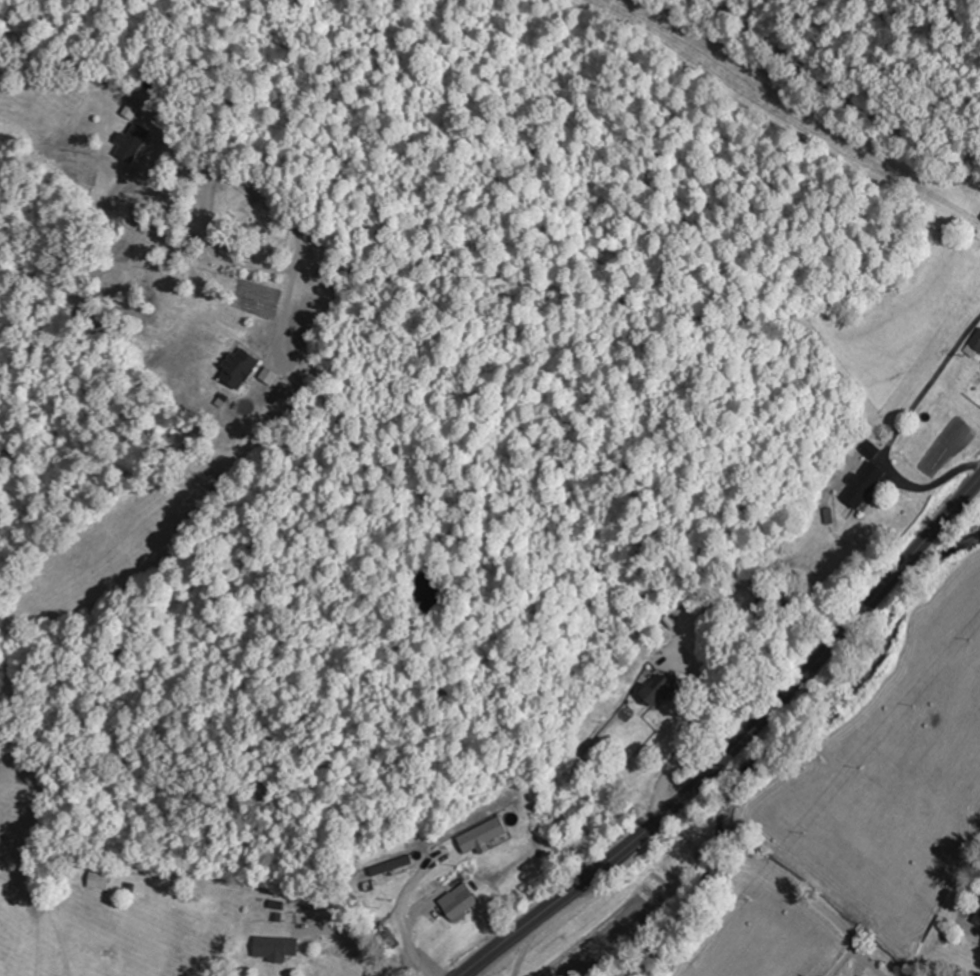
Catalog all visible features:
road: (868, 71)
road: (109, 83)
building: (160, 84)
building: (133, 142)
park: (248, 223)
road: (298, 251)
building: (976, 341)
building: (241, 367)
building: (871, 449)
building: (865, 485)
building: (661, 689)
road: (737, 744)
building: (485, 835)
road: (718, 840)
road: (644, 852)
building: (100, 879)
road: (812, 901)
building: (461, 902)
building: (276, 948)
road: (929, 949)
road: (877, 974)

